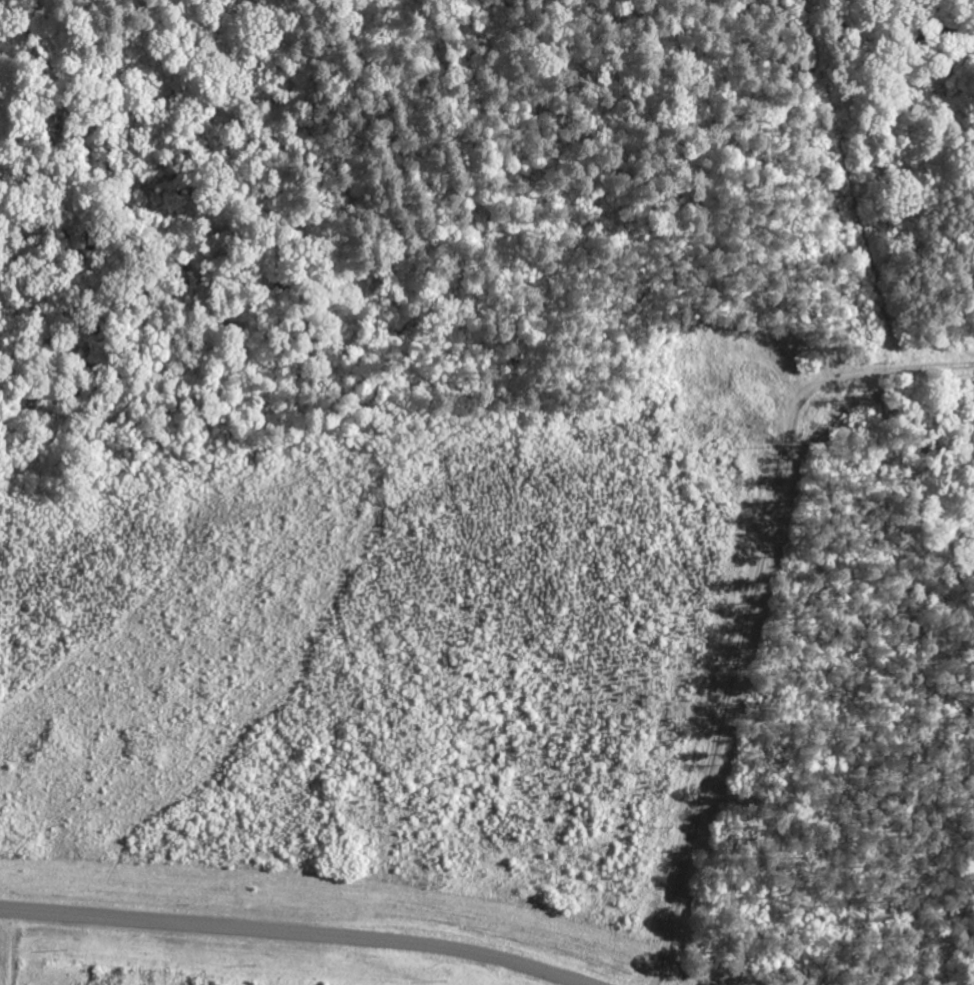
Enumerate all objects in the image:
road: (738, 695)
road: (294, 933)
road: (4, 948)

